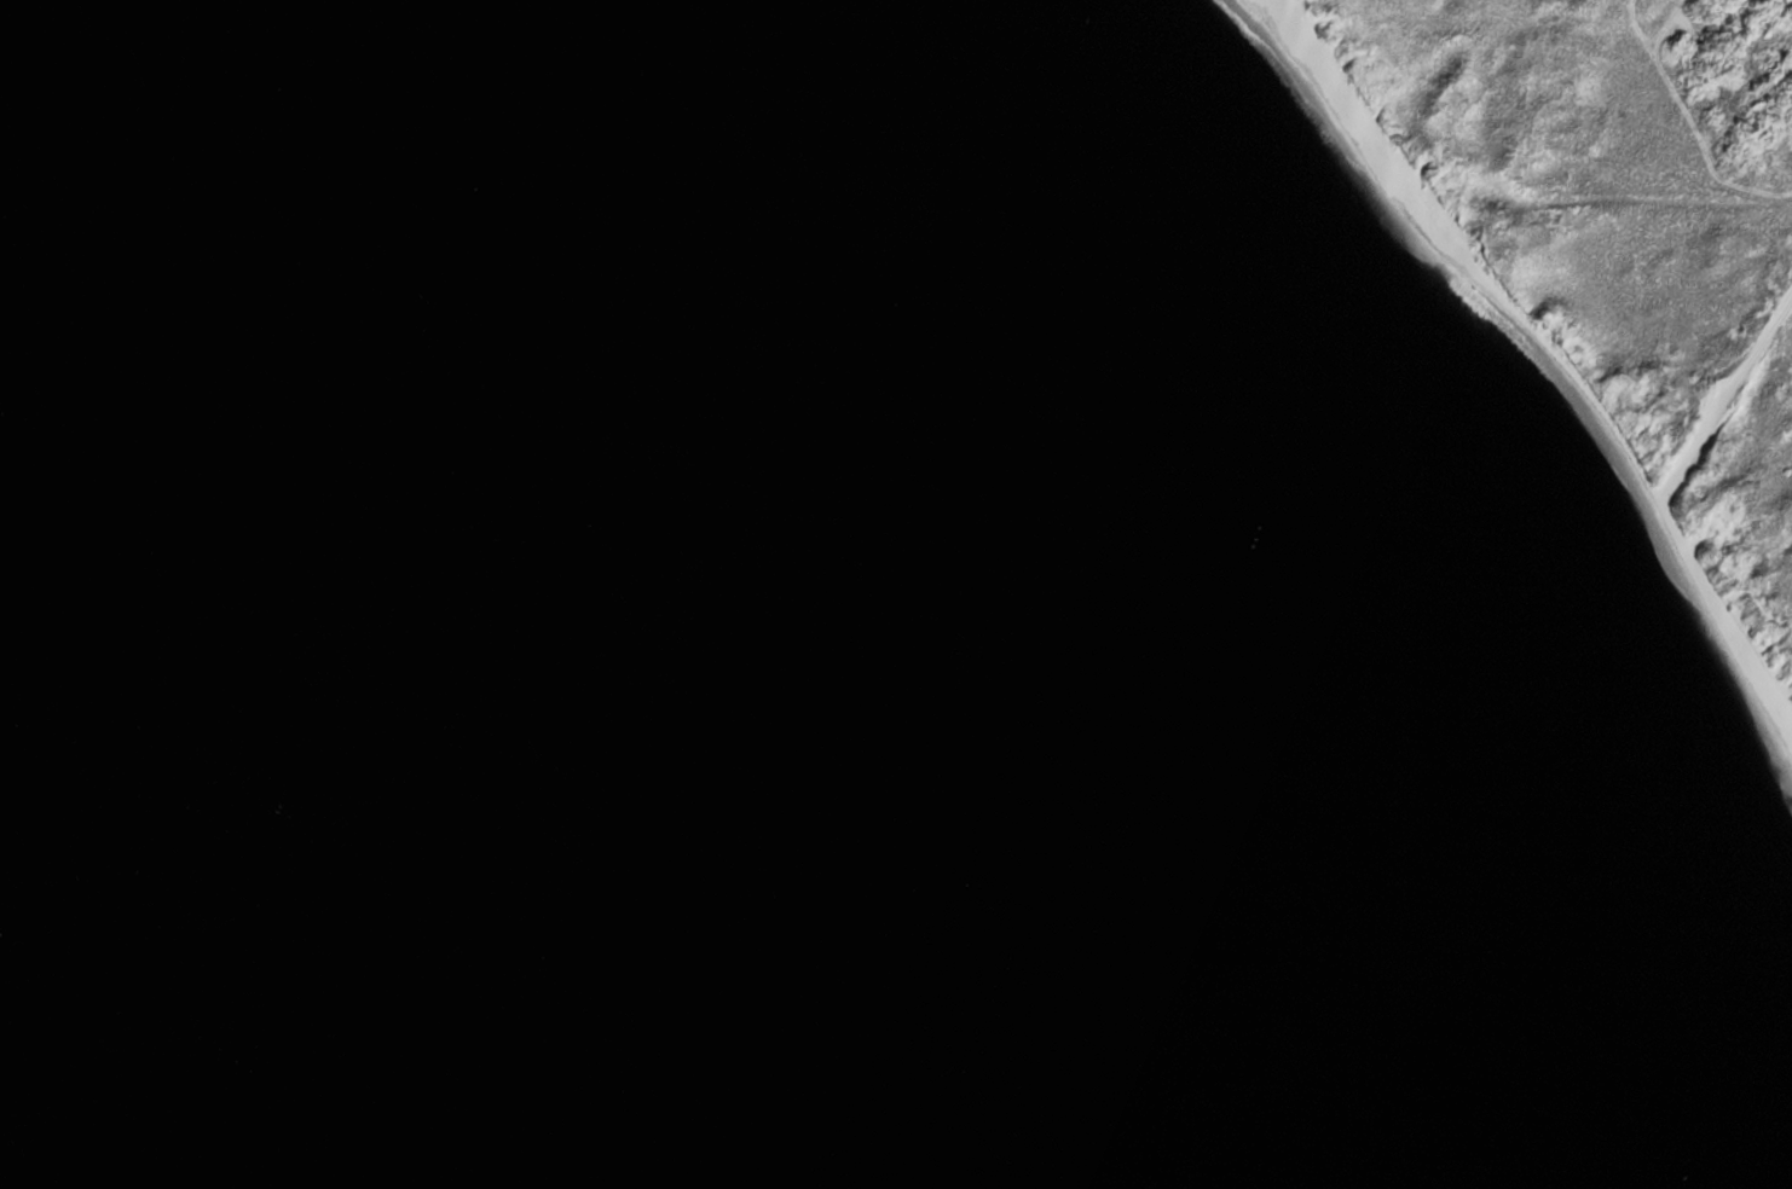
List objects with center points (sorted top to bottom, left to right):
road: (1640, 30)
road: (1688, 122)
road: (1723, 404)

